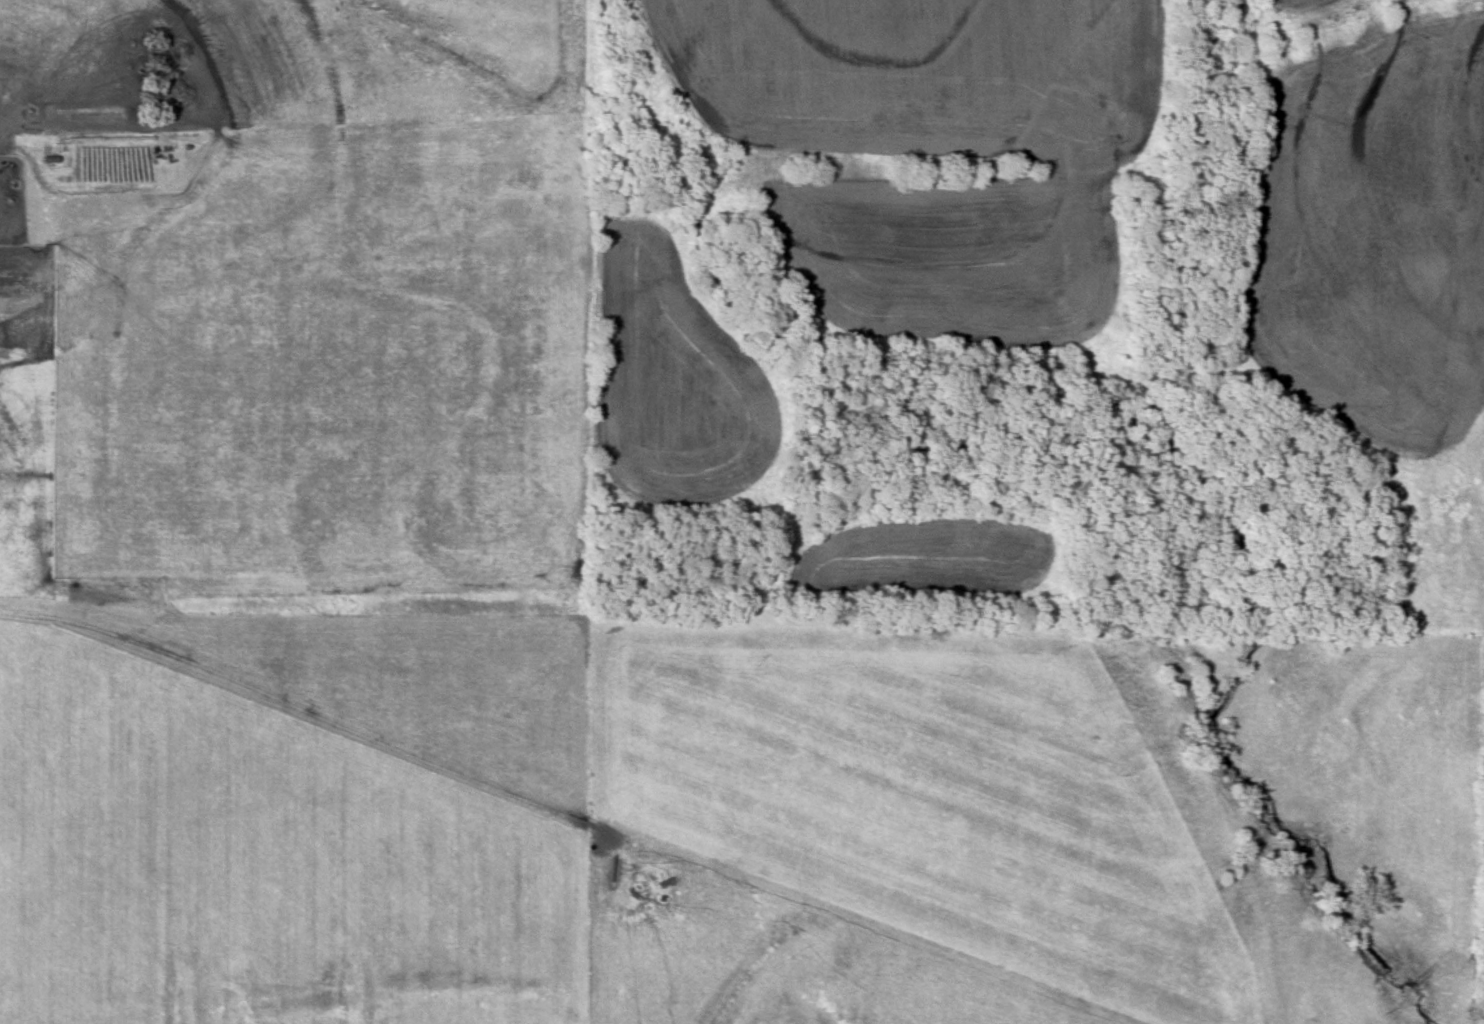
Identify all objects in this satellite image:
crop: (926, 146)
airport: (1040, 312)
crop: (323, 364)
crop: (675, 381)
crop: (291, 816)

